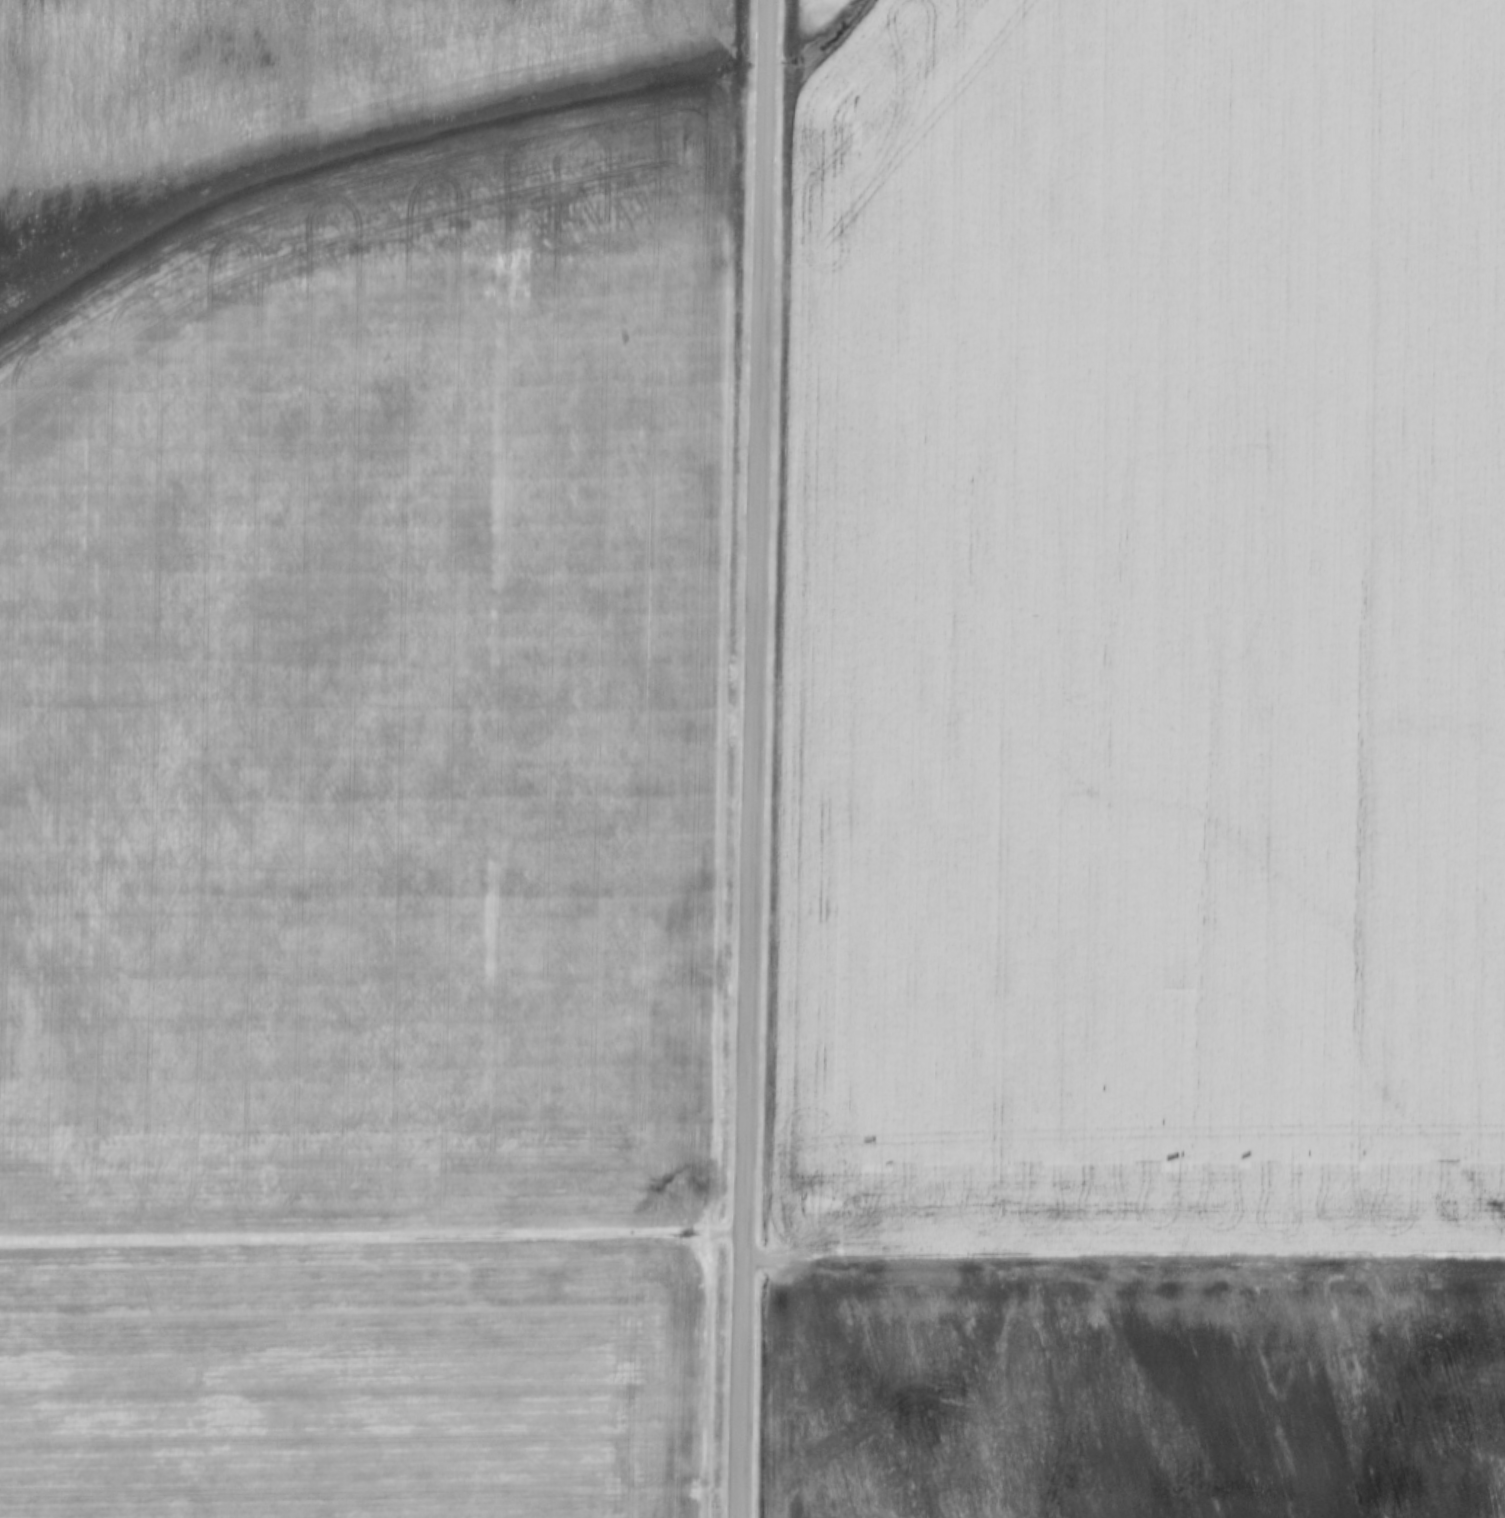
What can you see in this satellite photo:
crop: (362, 615)
crop: (1145, 629)
road: (751, 759)
crop: (355, 1381)
crop: (1137, 1391)

